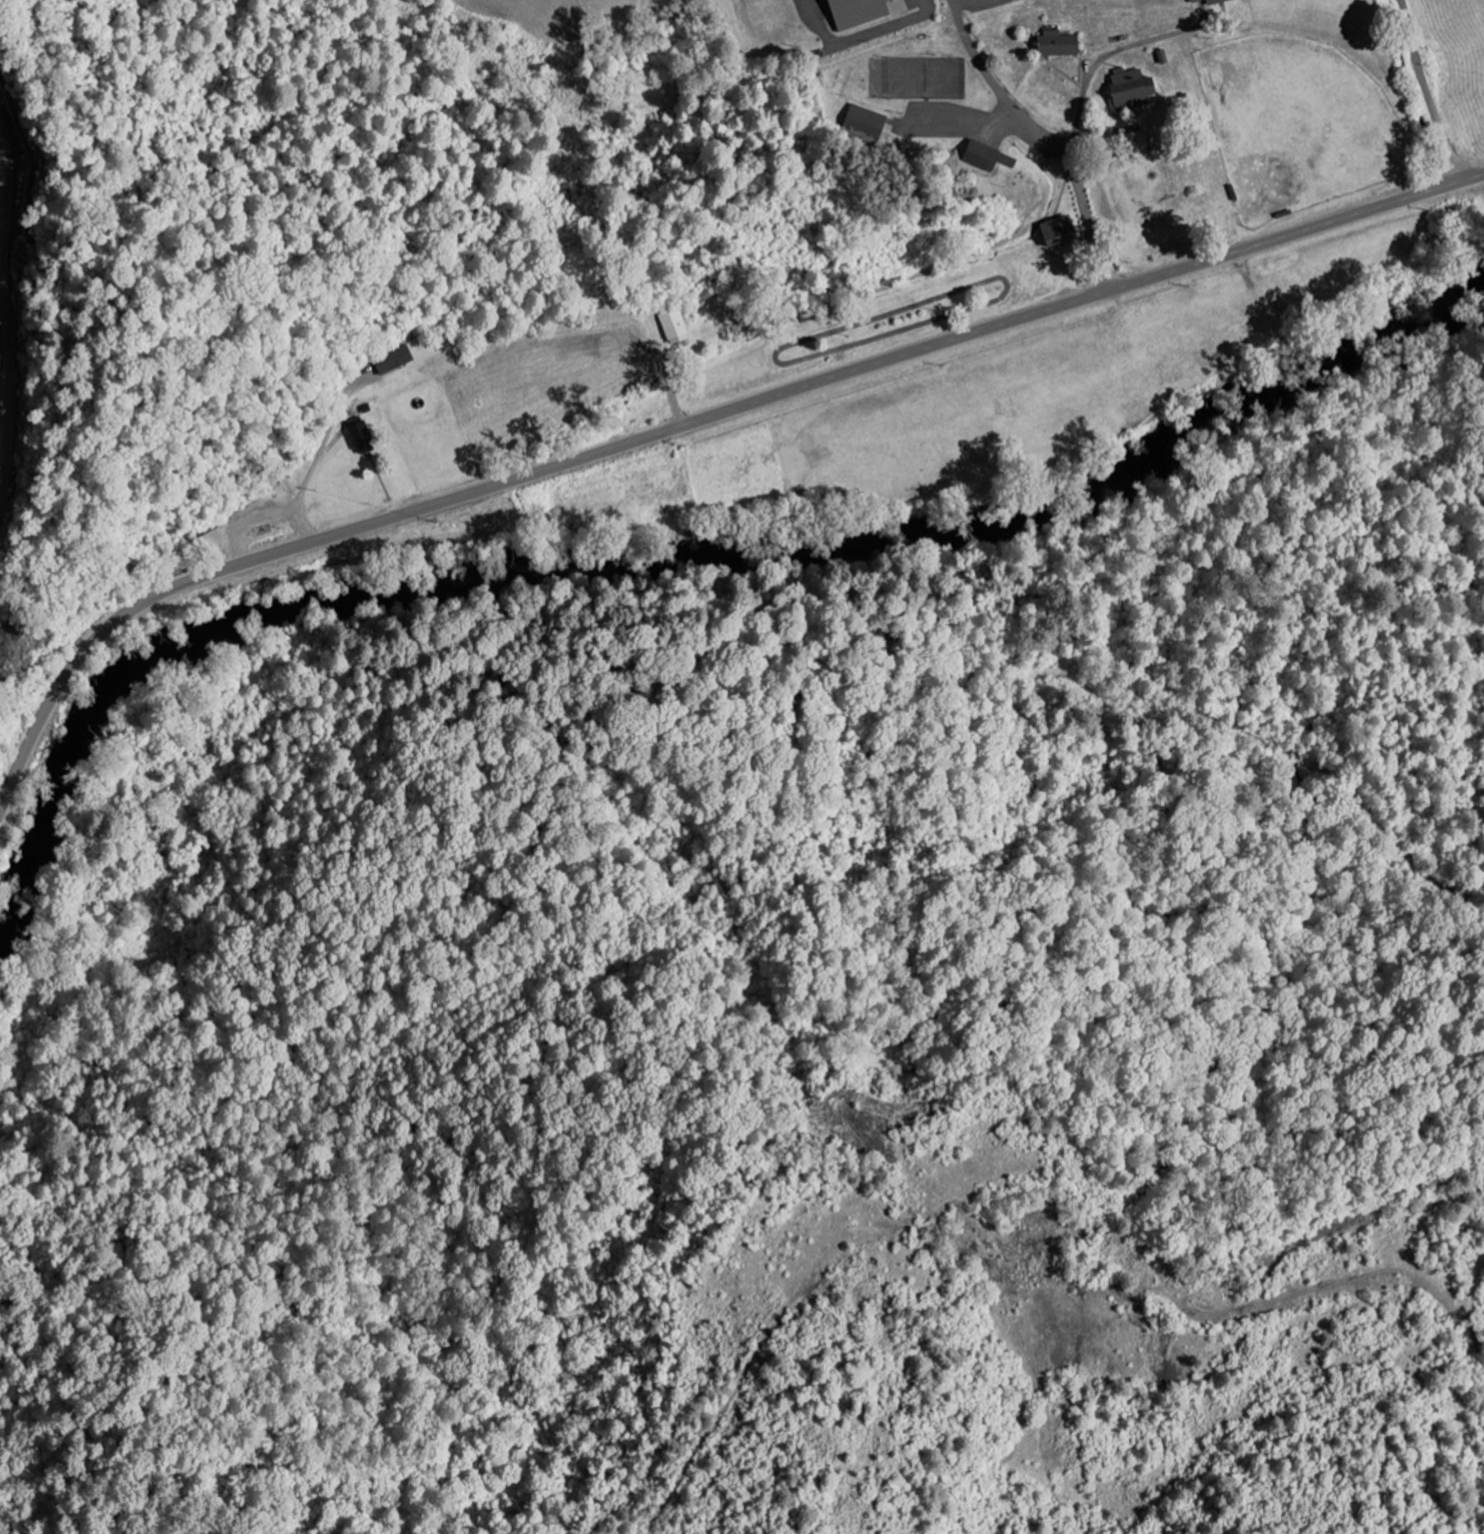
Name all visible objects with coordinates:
building: (1214, 1)
building: (865, 12)
building: (1061, 45)
building: (1135, 89)
road: (1427, 91)
building: (870, 119)
road: (1047, 137)
building: (991, 158)
building: (1062, 232)
road: (688, 424)
building: (363, 436)
building: (214, 540)

